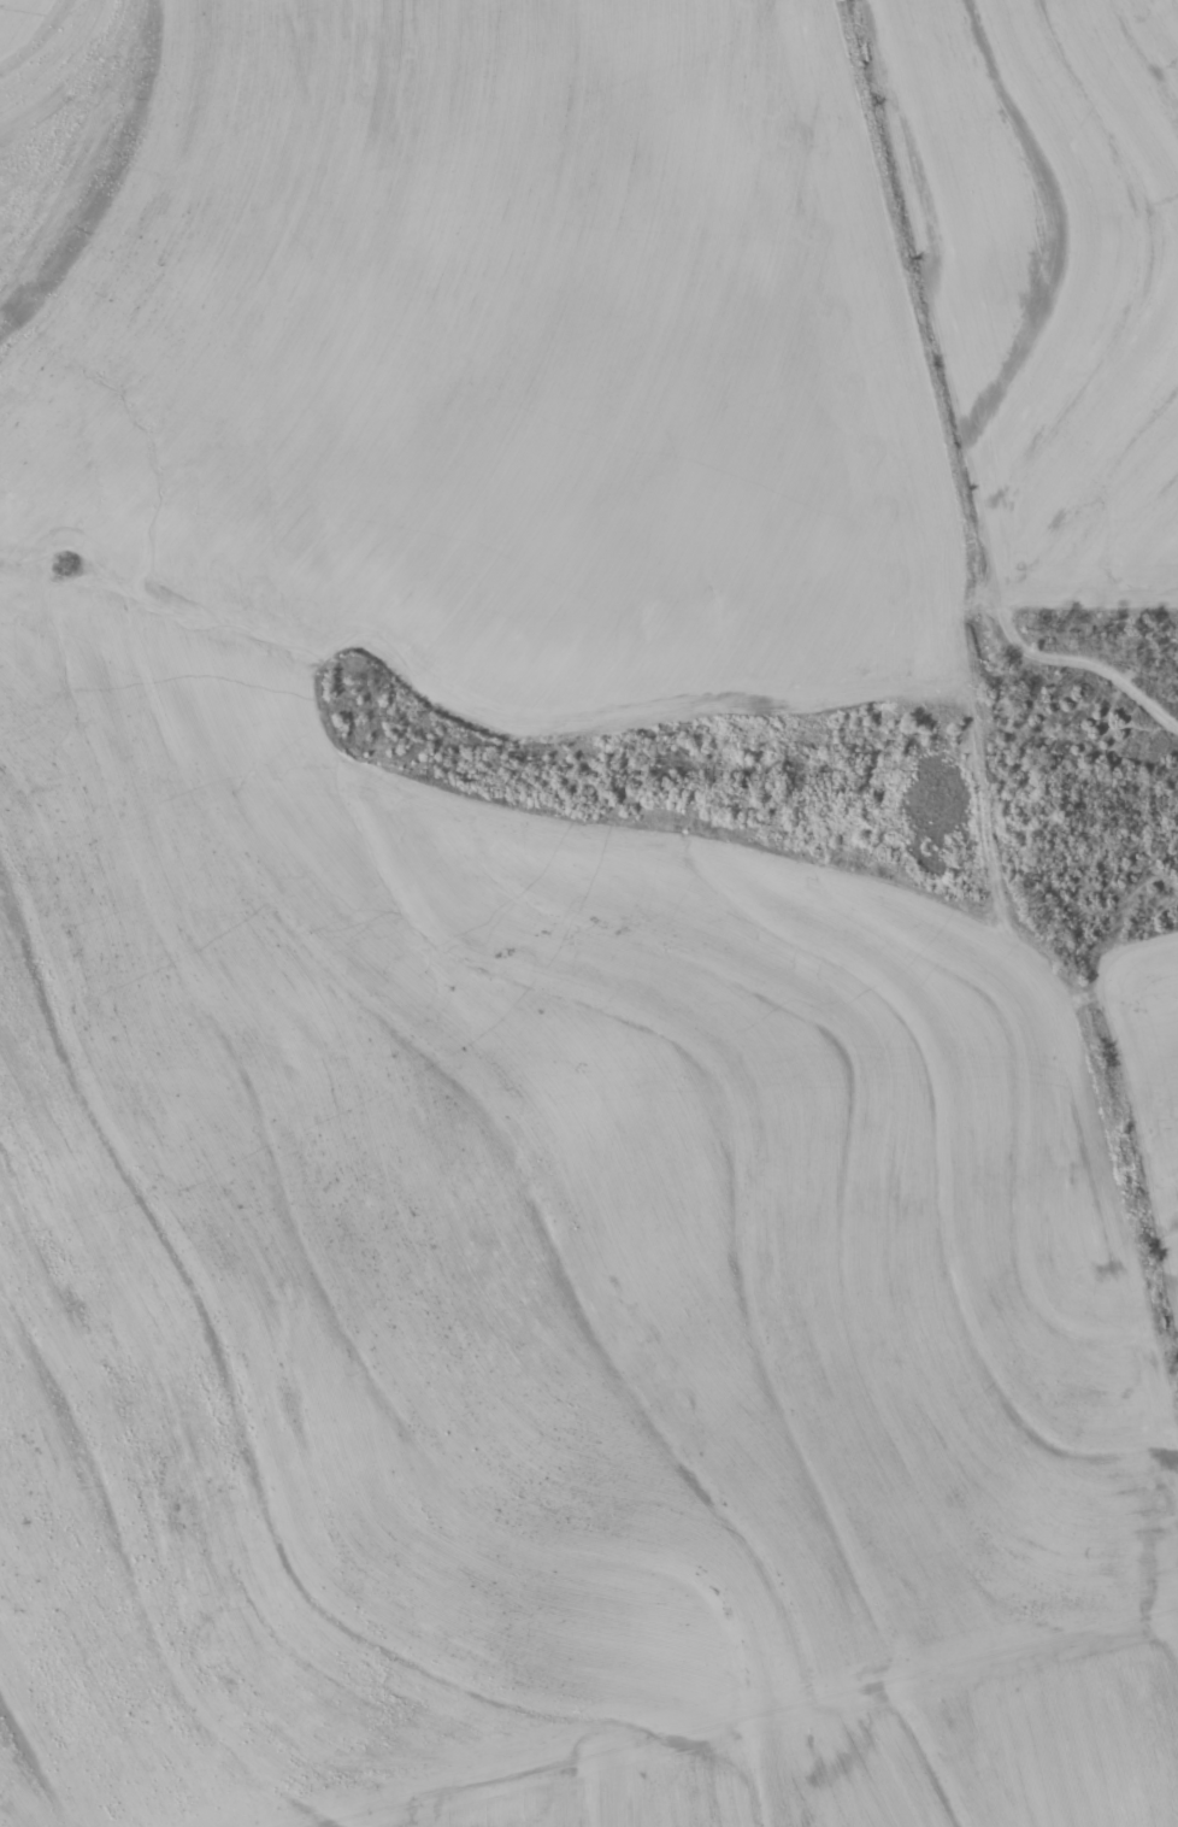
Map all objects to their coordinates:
road: (915, 428)
road: (1043, 870)
road: (1123, 1152)
road: (772, 1722)

